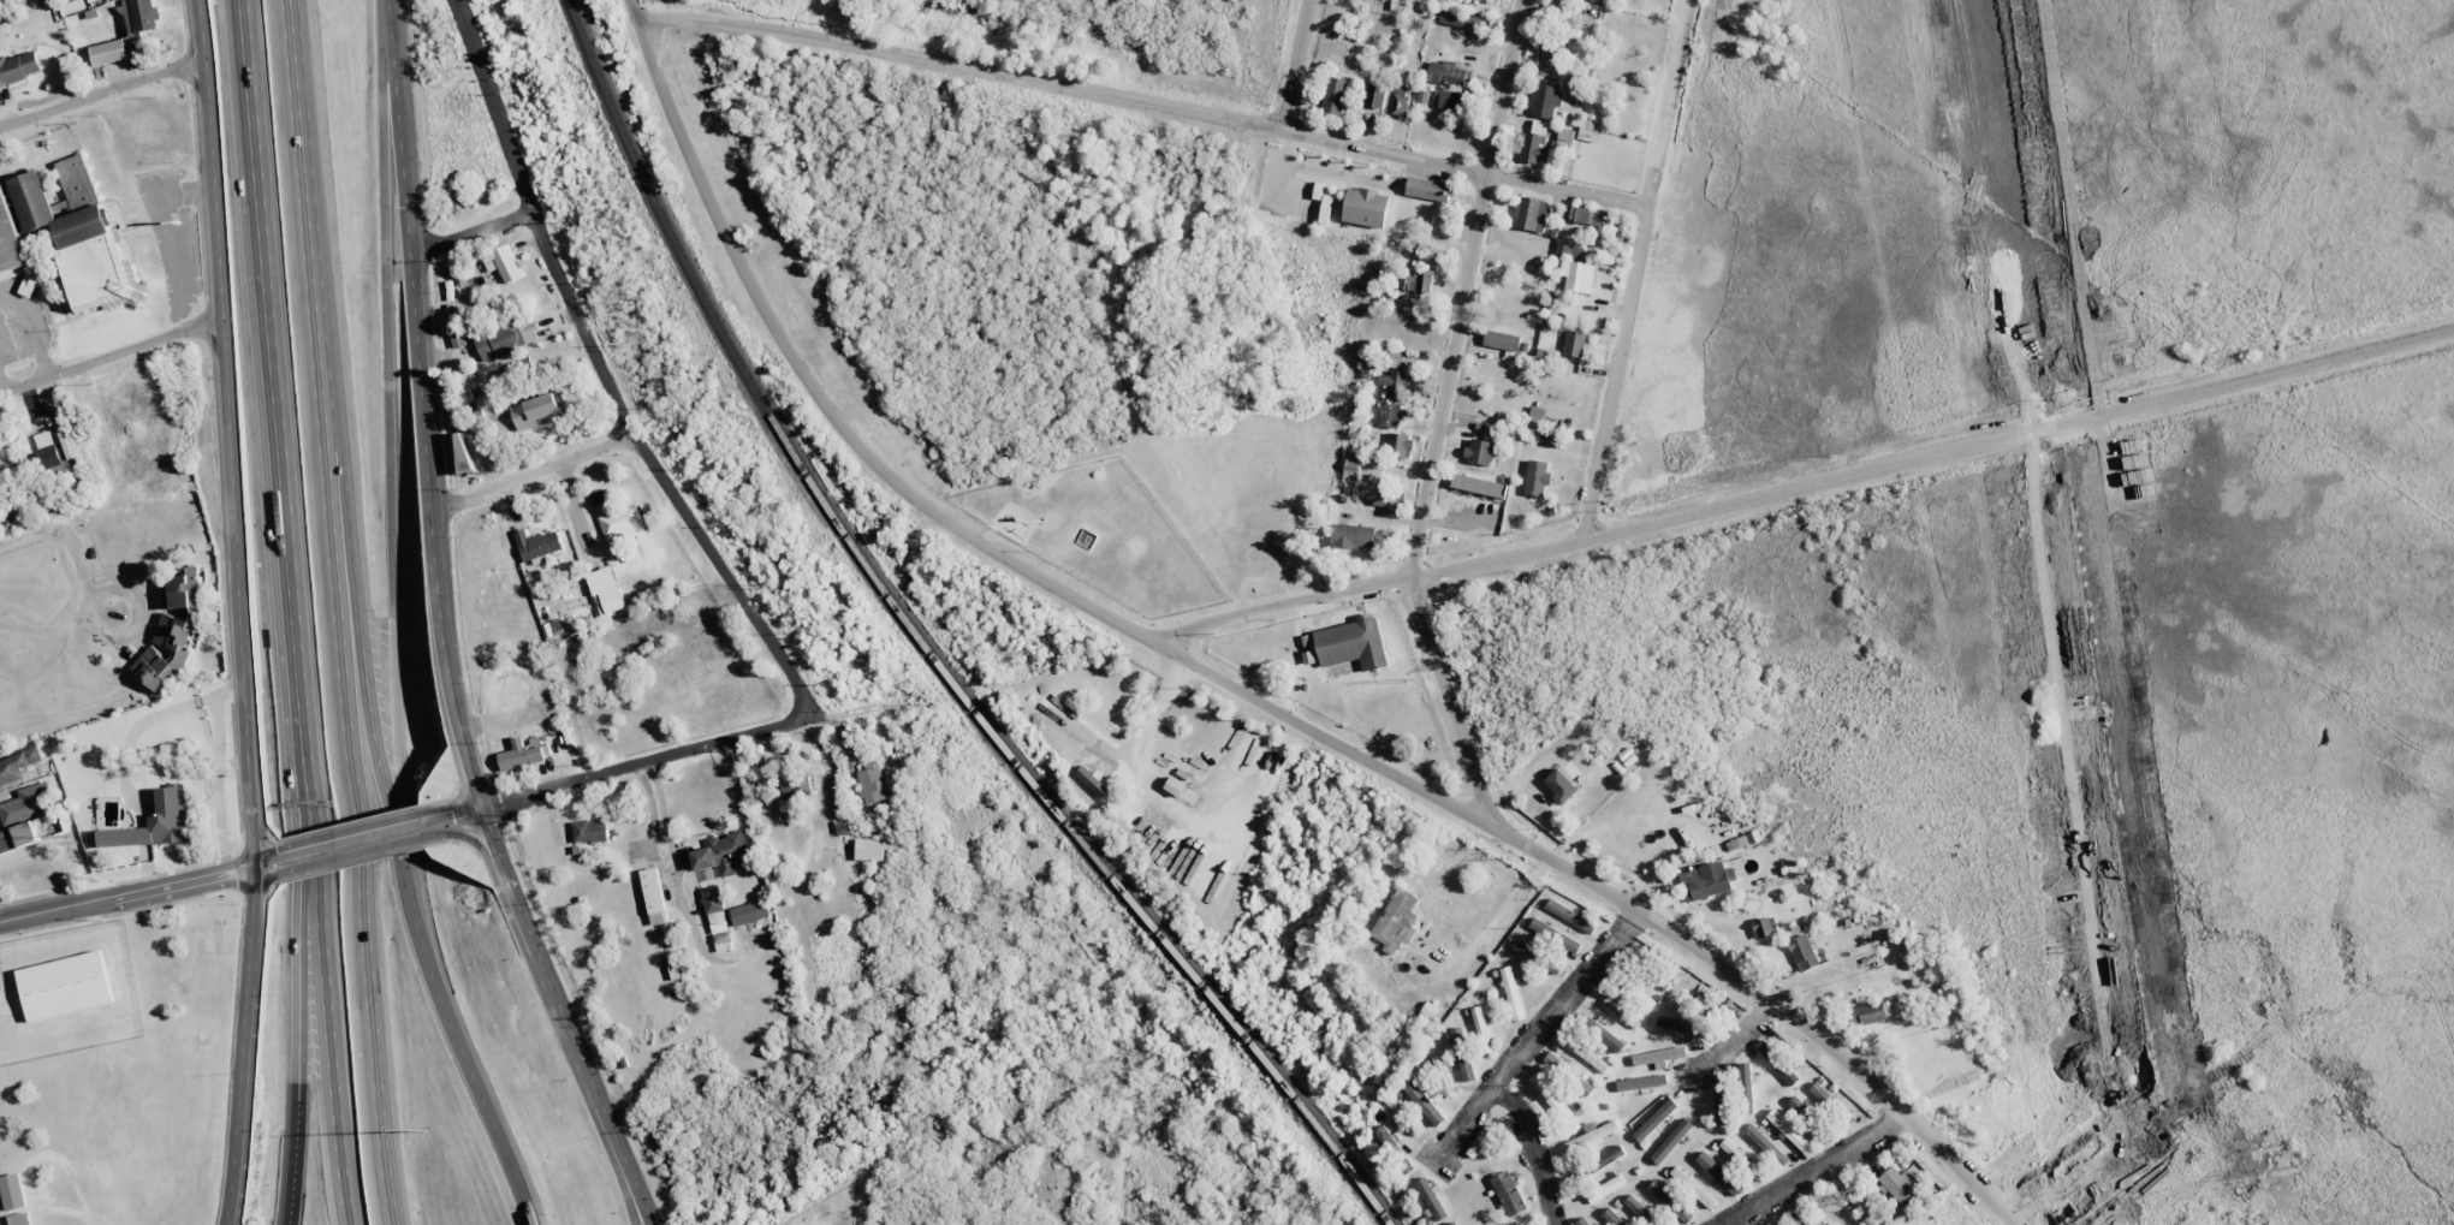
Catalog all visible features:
building: (1480, 0)
building: (139, 16)
building: (1463, 22)
building: (108, 53)
building: (1550, 59)
road: (1295, 65)
building: (19, 67)
building: (1446, 73)
road: (102, 91)
building: (1335, 95)
building: (1373, 96)
road: (250, 100)
building: (1451, 100)
road: (1145, 101)
building: (1544, 101)
building: (1400, 102)
building: (1564, 138)
building: (1535, 142)
building: (1427, 189)
road: (305, 204)
building: (1366, 207)
building: (1325, 209)
building: (1532, 214)
building: (1587, 216)
road: (469, 234)
road: (171, 237)
building: (69, 242)
building: (1568, 250)
building: (503, 263)
road: (1634, 269)
building: (1577, 275)
power tower: (1302, 276)
building: (1418, 280)
road: (1464, 290)
road: (32, 327)
building: (457, 340)
building: (503, 340)
building: (1502, 340)
building: (1574, 343)
road: (109, 358)
building: (1395, 359)
road: (599, 373)
road: (2, 386)
building: (1392, 386)
building: (536, 412)
building: (1390, 415)
building: (1537, 416)
road: (388, 435)
building: (1400, 445)
building: (1479, 451)
building: (55, 452)
building: (0, 456)
road: (530, 471)
building: (1535, 477)
road: (283, 486)
building: (1478, 486)
road: (1801, 486)
road: (101, 489)
building: (598, 499)
park: (1249, 499)
building: (622, 524)
building: (1353, 535)
building: (537, 545)
road: (239, 607)
building: (174, 630)
road: (444, 631)
building: (1348, 644)
railway: (921, 647)
power tower: (1412, 683)
road: (1231, 688)
road: (1450, 703)
building: (522, 756)
road: (649, 760)
building: (17, 766)
building: (872, 785)
building: (796, 786)
building: (1173, 786)
building: (25, 803)
road: (451, 810)
road: (352, 817)
building: (1135, 822)
building: (156, 823)
road: (396, 823)
building: (590, 831)
road: (311, 832)
road: (352, 834)
building: (17, 837)
road: (469, 838)
building: (869, 849)
road: (352, 854)
building: (721, 854)
road: (271, 860)
road: (266, 876)
building: (1706, 881)
road: (675, 882)
road: (129, 893)
building: (653, 897)
building: (749, 912)
building: (1570, 916)
building: (717, 918)
road: (307, 920)
building: (1396, 921)
building: (1764, 927)
building: (1553, 936)
building: (1528, 952)
building: (1802, 952)
building: (1662, 982)
building: (65, 986)
building: (1511, 993)
building: (1644, 1000)
building: (1871, 1012)
building: (1620, 1013)
building: (1678, 1025)
building: (1480, 1029)
building: (1603, 1034)
building: (1462, 1054)
building: (1586, 1055)
building: (1658, 1055)
road: (1510, 1057)
road: (331, 1058)
building: (1777, 1063)
building: (1440, 1074)
building: (1568, 1074)
building: (1641, 1083)
road: (293, 1086)
power tower: (1517, 1087)
building: (1746, 1087)
building: (1718, 1090)
building: (1550, 1096)
building: (1422, 1101)
building: (1830, 1101)
building: (1800, 1108)
building: (1654, 1120)
building: (1788, 1131)
building: (1592, 1134)
building: (1670, 1141)
building: (1480, 1142)
building: (1765, 1144)
building: (1392, 1149)
building: (1733, 1152)
building: (1600, 1161)
road: (1812, 1170)
building: (1718, 1173)
road: (631, 1181)
building: (1896, 1183)
building: (1692, 1188)
building: (1604, 1189)
building: (13, 1191)
building: (1508, 1193)
building: (1852, 1197)
building: (1430, 1199)
building: (1669, 1201)
building: (1640, 1211)
building: (1832, 1213)
building: (1611, 1218)
building: (20, 1219)
building: (1800, 1219)
road: (228, 1220)
road: (230, 1220)
building: (1455, 1224)
building: (1588, 1224)
building: (1767, 1224)

